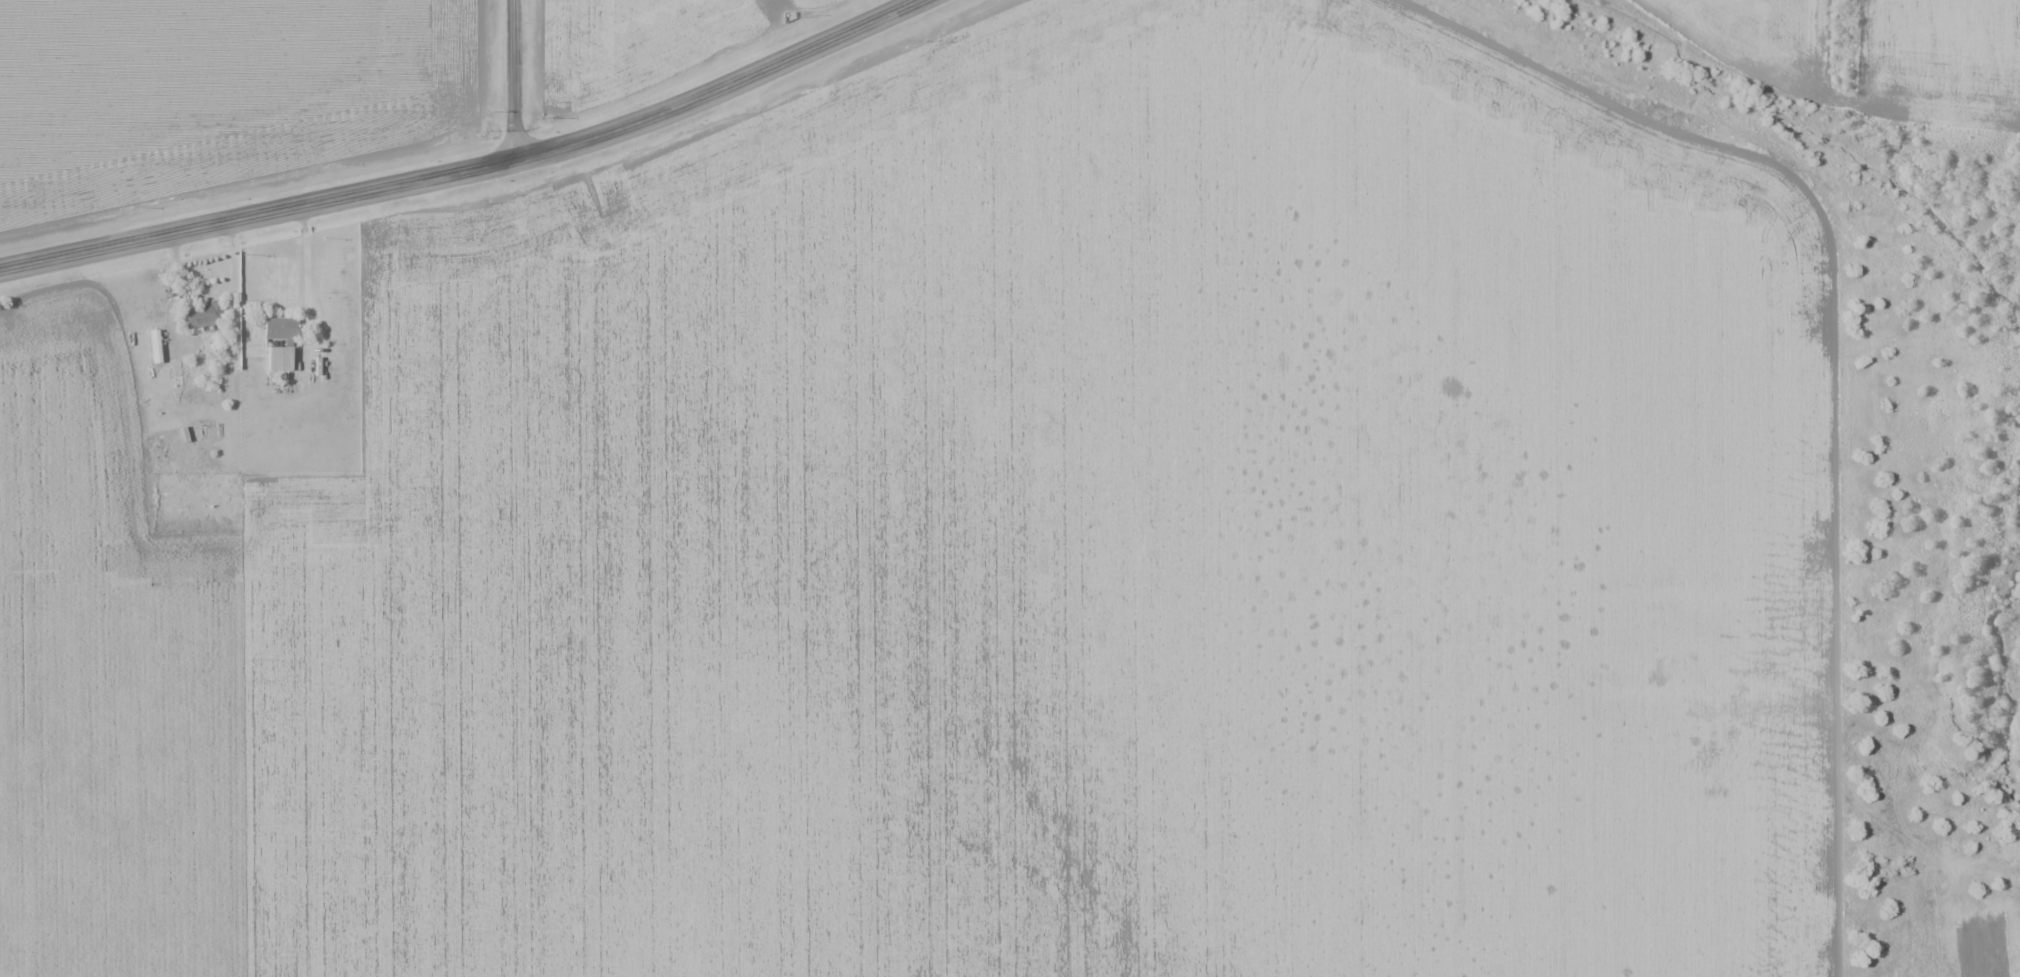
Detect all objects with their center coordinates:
road: (511, 81)
road: (473, 171)
building: (202, 318)
building: (280, 328)
building: (155, 346)
building: (279, 359)

